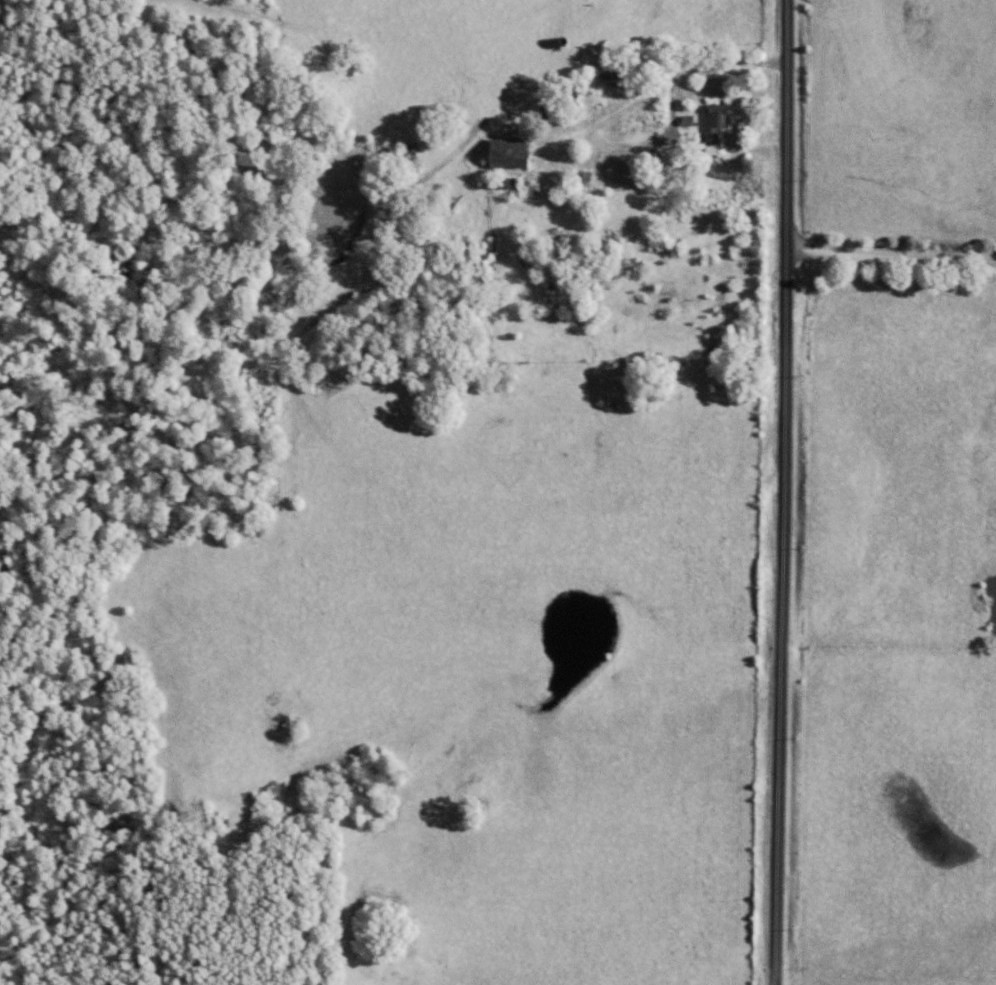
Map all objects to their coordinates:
building: (603, 71)
building: (713, 129)
building: (507, 165)
building: (499, 188)
road: (890, 249)
road: (782, 492)

